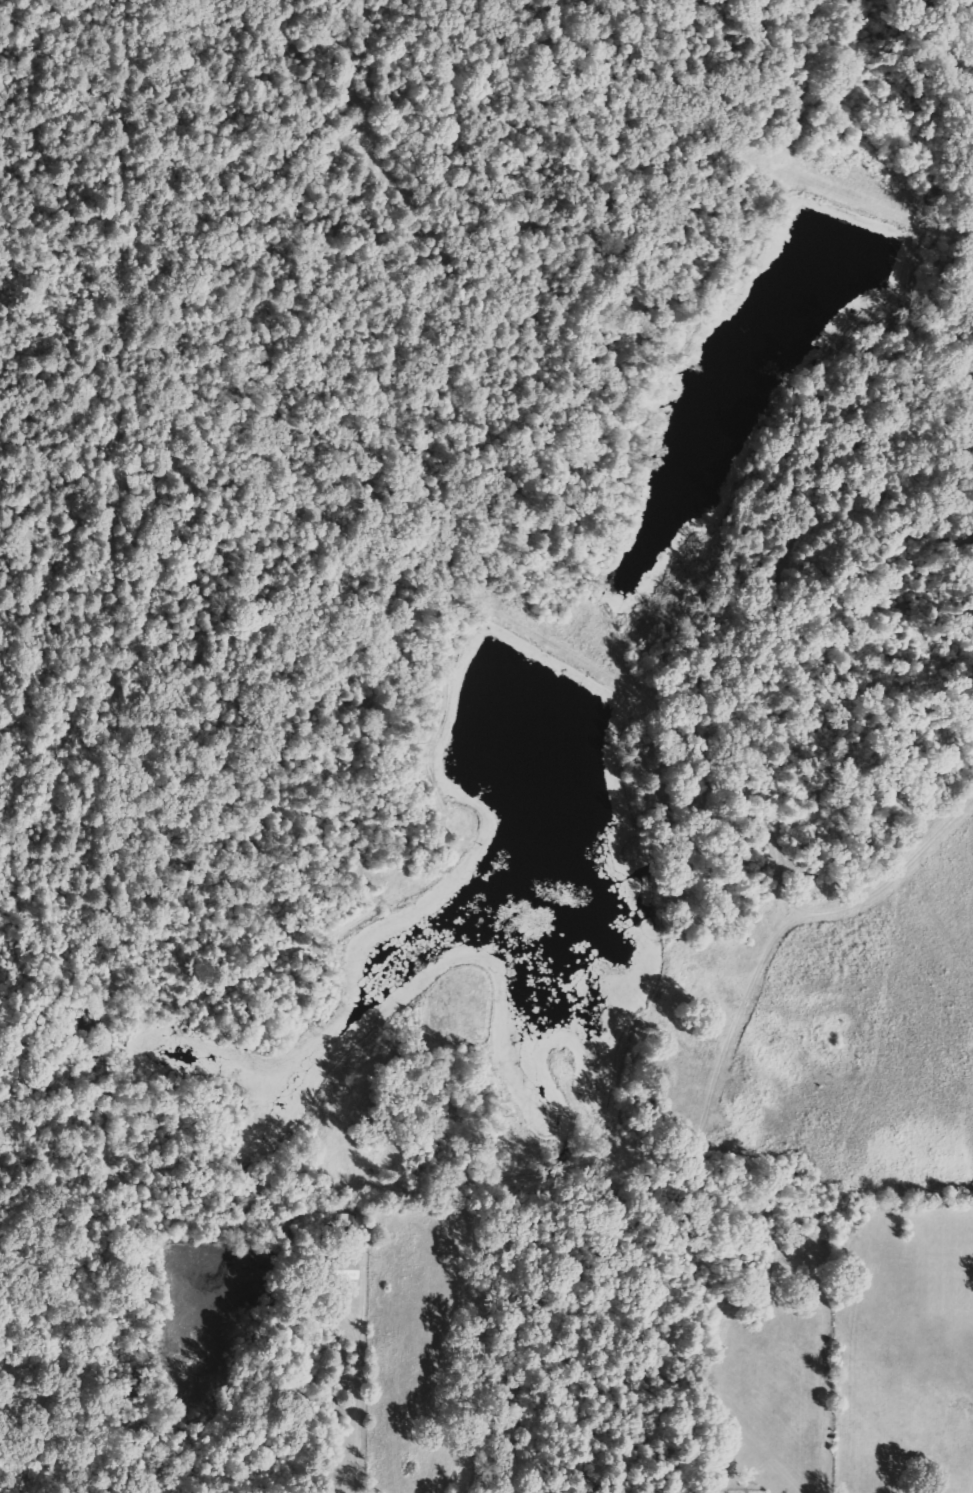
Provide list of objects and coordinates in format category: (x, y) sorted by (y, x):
road: (352, 1396)

